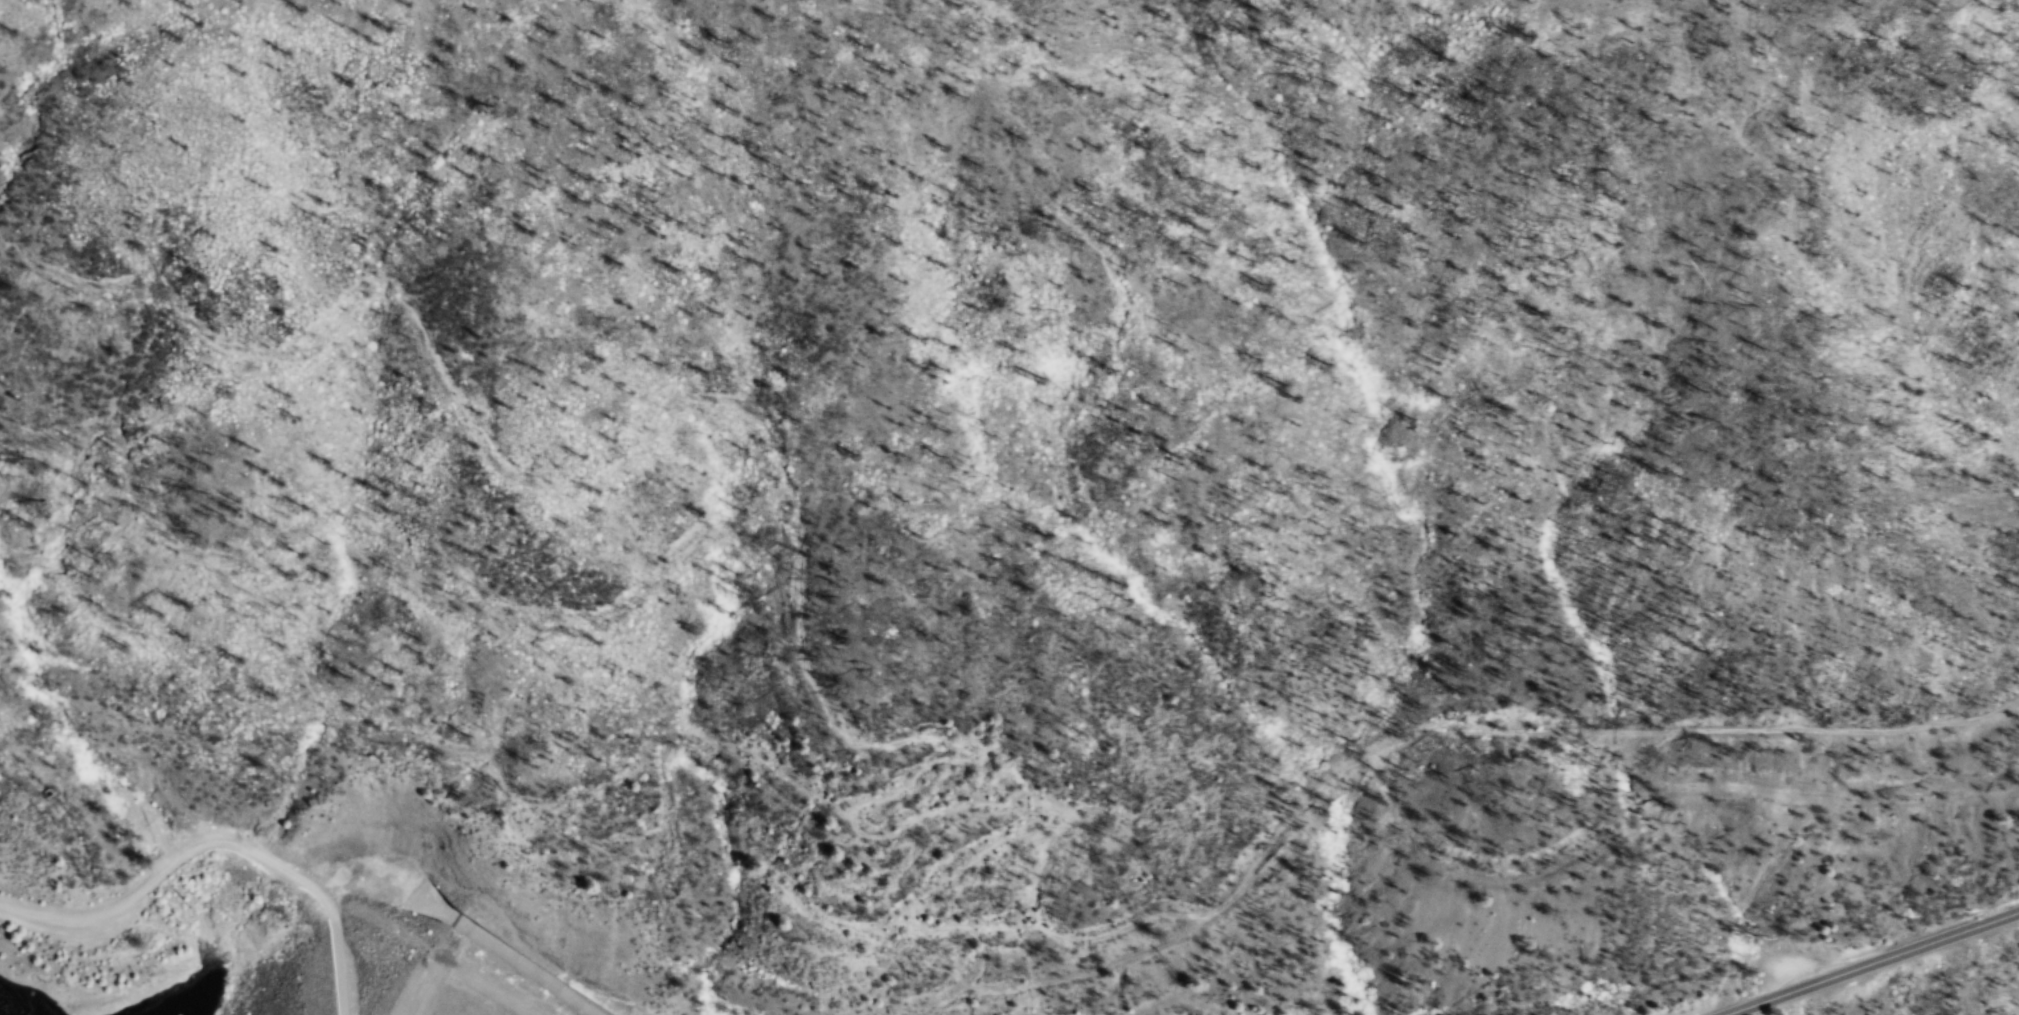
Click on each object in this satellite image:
road: (1534, 729)
road: (281, 865)
road: (65, 913)
road: (1871, 965)
dam: (432, 980)
road: (422, 986)

